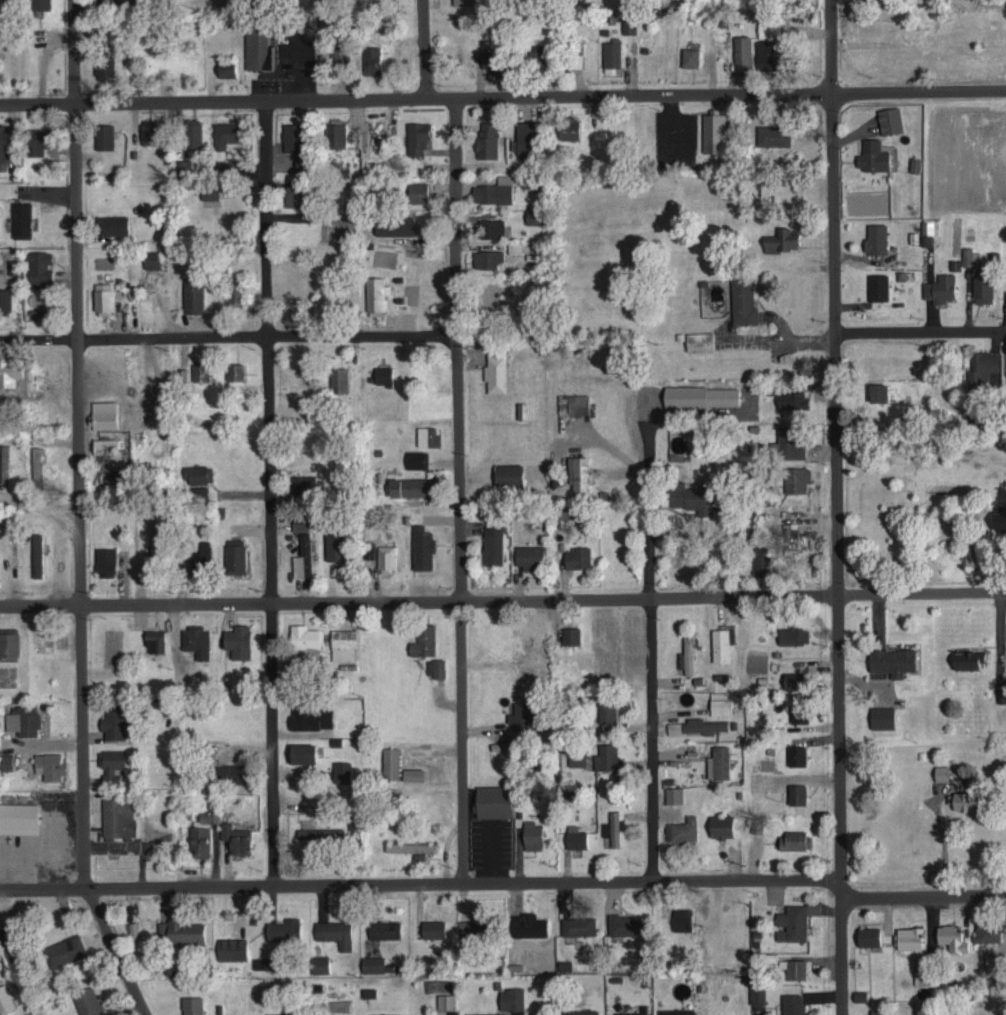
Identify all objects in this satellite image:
building: (108, 0)
building: (628, 23)
building: (769, 29)
building: (258, 47)
road: (422, 48)
building: (339, 53)
building: (538, 53)
building: (743, 54)
building: (768, 55)
building: (577, 56)
building: (611, 56)
building: (691, 56)
building: (372, 59)
building: (493, 60)
building: (105, 67)
building: (226, 68)
road: (305, 69)
road: (729, 92)
road: (439, 97)
road: (212, 101)
road: (672, 119)
building: (890, 120)
building: (568, 127)
building: (149, 131)
building: (193, 131)
building: (714, 131)
building: (226, 133)
building: (336, 134)
building: (104, 135)
building: (774, 135)
building: (293, 136)
building: (418, 137)
building: (488, 139)
building: (37, 140)
building: (525, 140)
building: (4, 142)
building: (873, 156)
building: (183, 164)
building: (223, 165)
building: (418, 191)
building: (210, 192)
building: (492, 192)
building: (295, 195)
building: (534, 216)
building: (22, 219)
building: (113, 225)
building: (395, 225)
building: (491, 228)
building: (931, 231)
building: (876, 238)
building: (781, 240)
building: (515, 246)
building: (489, 258)
building: (152, 259)
building: (12, 265)
building: (40, 268)
building: (878, 286)
building: (940, 288)
building: (983, 288)
building: (235, 293)
building: (374, 294)
building: (193, 295)
building: (491, 296)
building: (104, 297)
building: (5, 299)
building: (743, 301)
building: (37, 312)
road: (920, 327)
road: (226, 337)
building: (700, 341)
building: (982, 367)
building: (499, 370)
building: (200, 371)
building: (235, 371)
building: (5, 372)
building: (384, 375)
building: (339, 380)
building: (145, 385)
building: (879, 392)
building: (702, 395)
building: (792, 399)
building: (573, 403)
building: (522, 410)
building: (100, 419)
building: (427, 436)
building: (788, 442)
building: (103, 445)
building: (417, 458)
building: (5, 463)
building: (37, 464)
building: (509, 473)
building: (580, 473)
building: (198, 474)
building: (113, 476)
building: (797, 480)
building: (303, 483)
building: (411, 486)
road: (456, 489)
building: (199, 492)
road: (268, 492)
building: (691, 497)
road: (835, 507)
road: (38, 508)
road: (77, 515)
building: (1000, 516)
building: (300, 525)
building: (155, 537)
building: (335, 544)
building: (422, 547)
building: (496, 548)
building: (371, 550)
building: (202, 553)
building: (37, 554)
building: (235, 556)
building: (529, 556)
building: (303, 557)
building: (577, 557)
building: (386, 558)
building: (761, 559)
building: (105, 561)
road: (502, 597)
building: (571, 635)
building: (793, 635)
building: (305, 636)
building: (155, 640)
building: (197, 640)
building: (238, 641)
building: (9, 643)
building: (344, 644)
building: (427, 644)
road: (650, 645)
building: (721, 645)
building: (688, 653)
building: (968, 659)
building: (893, 660)
building: (435, 667)
building: (794, 680)
building: (1002, 694)
building: (721, 702)
building: (157, 709)
building: (607, 710)
building: (799, 714)
building: (522, 715)
building: (311, 716)
building: (882, 717)
building: (23, 719)
building: (114, 721)
building: (704, 725)
building: (674, 727)
building: (303, 751)
building: (797, 755)
building: (607, 757)
building: (577, 759)
building: (6, 760)
building: (391, 762)
building: (721, 762)
building: (111, 764)
building: (50, 765)
building: (342, 770)
building: (942, 771)
building: (414, 772)
building: (231, 773)
building: (798, 792)
building: (674, 794)
building: (964, 799)
building: (494, 800)
building: (118, 816)
building: (19, 817)
building: (722, 825)
building: (614, 827)
building: (683, 828)
building: (327, 834)
building: (532, 834)
building: (237, 837)
building: (577, 838)
building: (794, 839)
building: (200, 840)
road: (942, 843)
building: (414, 848)
road: (418, 882)
road: (922, 894)
building: (814, 907)
building: (792, 922)
building: (626, 923)
building: (479, 924)
building: (529, 924)
building: (578, 924)
building: (433, 927)
building: (284, 928)
building: (385, 928)
building: (181, 929)
building: (335, 931)
building: (988, 931)
building: (869, 934)
building: (909, 936)
building: (952, 936)
building: (232, 948)
building: (65, 950)
building: (993, 961)
building: (263, 962)
building: (320, 963)
building: (373, 963)
building: (794, 966)
building: (368, 991)
building: (757, 992)
building: (860, 994)
building: (512, 997)
building: (5, 998)
building: (446, 1000)
building: (88, 1001)
building: (793, 1003)
building: (192, 1005)
building: (580, 1011)
building: (676, 1011)
building: (878, 1011)
building: (631, 1012)
building: (282, 1013)
building: (486, 1013)
building: (383, 1014)

